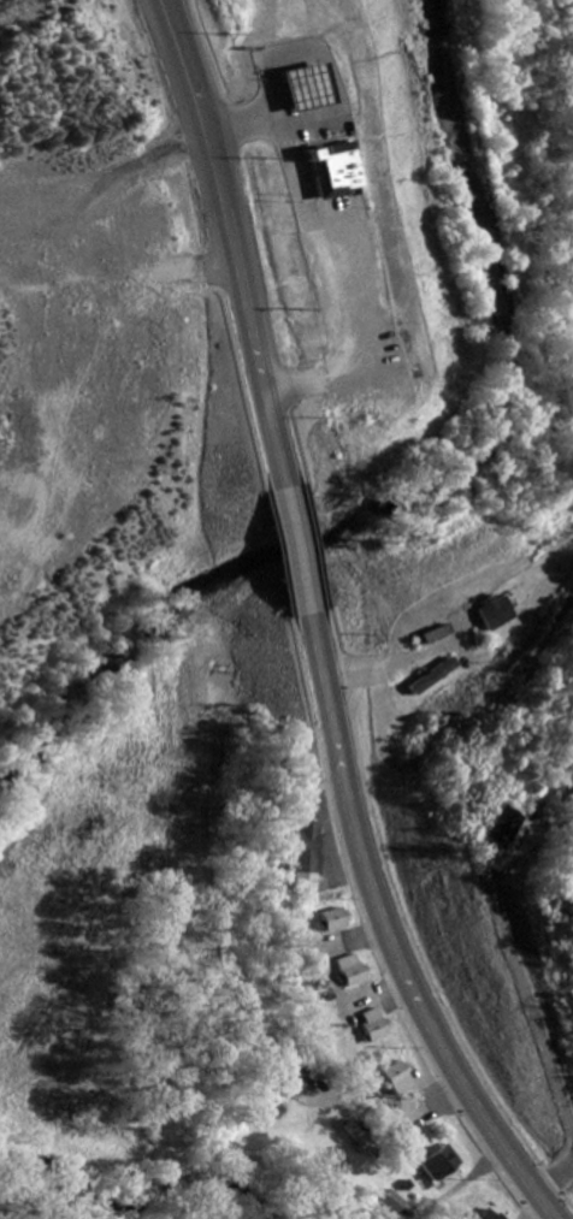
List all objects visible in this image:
building: (335, 171)
road: (308, 255)
building: (501, 614)
road: (312, 627)
building: (433, 639)
building: (501, 829)
building: (313, 850)
building: (337, 922)
building: (353, 972)
road: (475, 1023)
building: (374, 1026)
building: (396, 1082)
building: (359, 1141)
building: (441, 1166)
road: (557, 1197)
building: (391, 1205)
road: (557, 1212)
building: (490, 1215)

